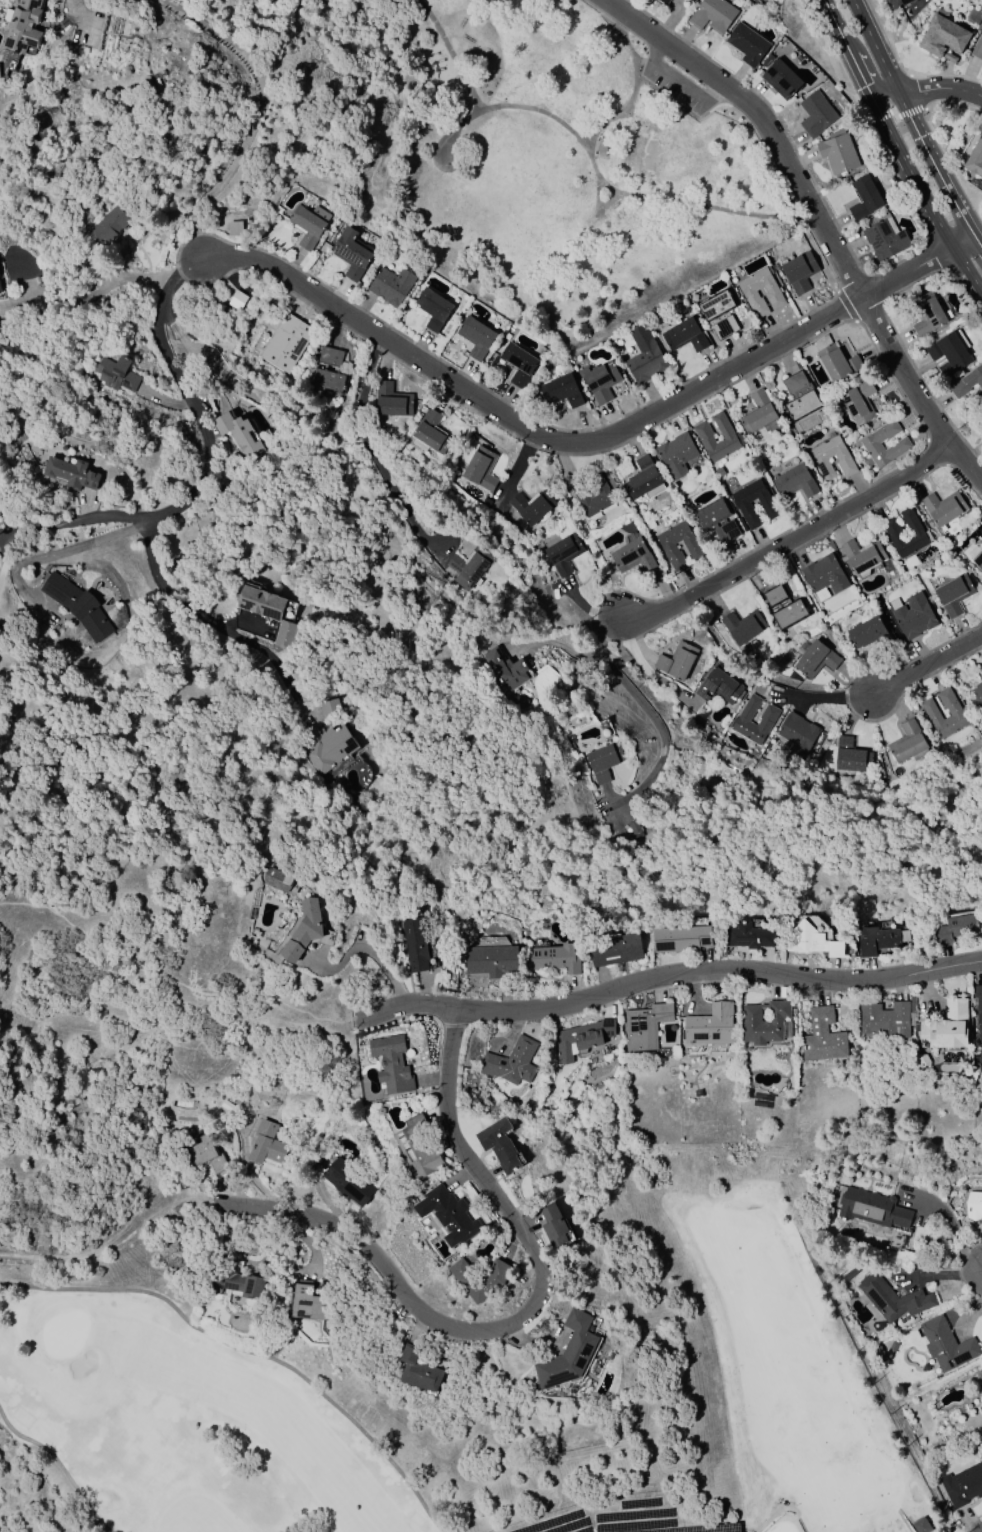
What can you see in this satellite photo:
building: (692, 1)
building: (663, 2)
building: (896, 3)
road: (829, 12)
building: (713, 15)
building: (972, 16)
road: (633, 19)
building: (24, 26)
building: (943, 37)
road: (843, 40)
building: (747, 44)
road: (875, 45)
building: (978, 48)
road: (658, 51)
road: (450, 53)
road: (829, 58)
road: (635, 59)
road: (644, 62)
road: (694, 62)
road: (860, 74)
building: (0, 76)
building: (781, 78)
parking lot: (674, 89)
road: (689, 89)
road: (923, 89)
road: (966, 90)
road: (884, 93)
road: (938, 103)
road: (257, 114)
building: (816, 114)
road: (613, 116)
road: (914, 123)
building: (601, 147)
building: (837, 152)
building: (975, 159)
park: (572, 170)
road: (909, 171)
road: (601, 181)
road: (952, 196)
building: (863, 197)
road: (596, 213)
building: (110, 223)
building: (309, 224)
building: (884, 239)
road: (963, 242)
road: (978, 242)
building: (351, 254)
road: (967, 269)
building: (799, 271)
road: (854, 284)
building: (390, 286)
building: (0, 290)
road: (101, 291)
building: (772, 294)
building: (237, 300)
building: (433, 309)
building: (928, 314)
building: (719, 315)
building: (684, 335)
building: (476, 336)
building: (287, 342)
building: (949, 351)
building: (330, 356)
building: (644, 356)
building: (838, 363)
building: (518, 364)
building: (116, 373)
building: (600, 380)
building: (324, 382)
building: (561, 391)
building: (956, 394)
building: (800, 395)
building: (393, 400)
building: (858, 402)
building: (758, 412)
building: (431, 432)
building: (239, 434)
building: (704, 437)
road: (578, 441)
building: (900, 444)
building: (676, 455)
building: (820, 456)
building: (480, 468)
building: (71, 473)
building: (642, 478)
building: (795, 482)
building: (602, 496)
road: (178, 505)
building: (742, 505)
building: (531, 506)
building: (943, 507)
building: (711, 512)
road: (81, 519)
building: (726, 531)
road: (6, 534)
building: (917, 534)
road: (784, 541)
building: (667, 547)
road: (51, 554)
building: (563, 554)
building: (861, 555)
building: (976, 555)
building: (632, 556)
building: (469, 566)
building: (824, 577)
building: (954, 594)
building: (775, 595)
building: (77, 605)
building: (268, 611)
building: (789, 614)
building: (912, 615)
building: (743, 626)
building: (868, 631)
road: (554, 642)
building: (816, 659)
building: (677, 660)
road: (639, 664)
road: (928, 665)
building: (981, 666)
building: (981, 667)
building: (504, 668)
building: (719, 685)
road: (826, 696)
building: (976, 698)
road: (640, 704)
building: (329, 709)
building: (954, 712)
building: (766, 720)
building: (797, 735)
building: (906, 742)
building: (328, 748)
building: (851, 756)
building: (603, 761)
building: (638, 829)
building: (277, 879)
building: (955, 927)
building: (306, 931)
building: (749, 935)
building: (681, 938)
building: (877, 939)
building: (813, 940)
building: (414, 944)
building: (615, 949)
road: (370, 952)
building: (555, 958)
building: (491, 960)
road: (672, 975)
road: (176, 979)
building: (885, 1018)
building: (763, 1021)
building: (978, 1021)
building: (710, 1025)
building: (645, 1026)
building: (945, 1027)
building: (822, 1036)
building: (581, 1038)
building: (923, 1060)
building: (391, 1062)
building: (511, 1062)
building: (267, 1144)
building: (499, 1144)
building: (418, 1146)
building: (205, 1153)
building: (349, 1181)
building: (973, 1205)
building: (872, 1208)
building: (448, 1214)
building: (553, 1226)
road: (951, 1232)
building: (849, 1274)
building: (237, 1278)
building: (480, 1278)
building: (892, 1298)
building: (308, 1303)
road: (522, 1315)
building: (946, 1345)
building: (892, 1346)
building: (568, 1352)
road: (249, 1353)
building: (418, 1369)
building: (979, 1381)
building: (980, 1409)
road: (59, 1463)
building: (962, 1485)
building: (921, 1525)

